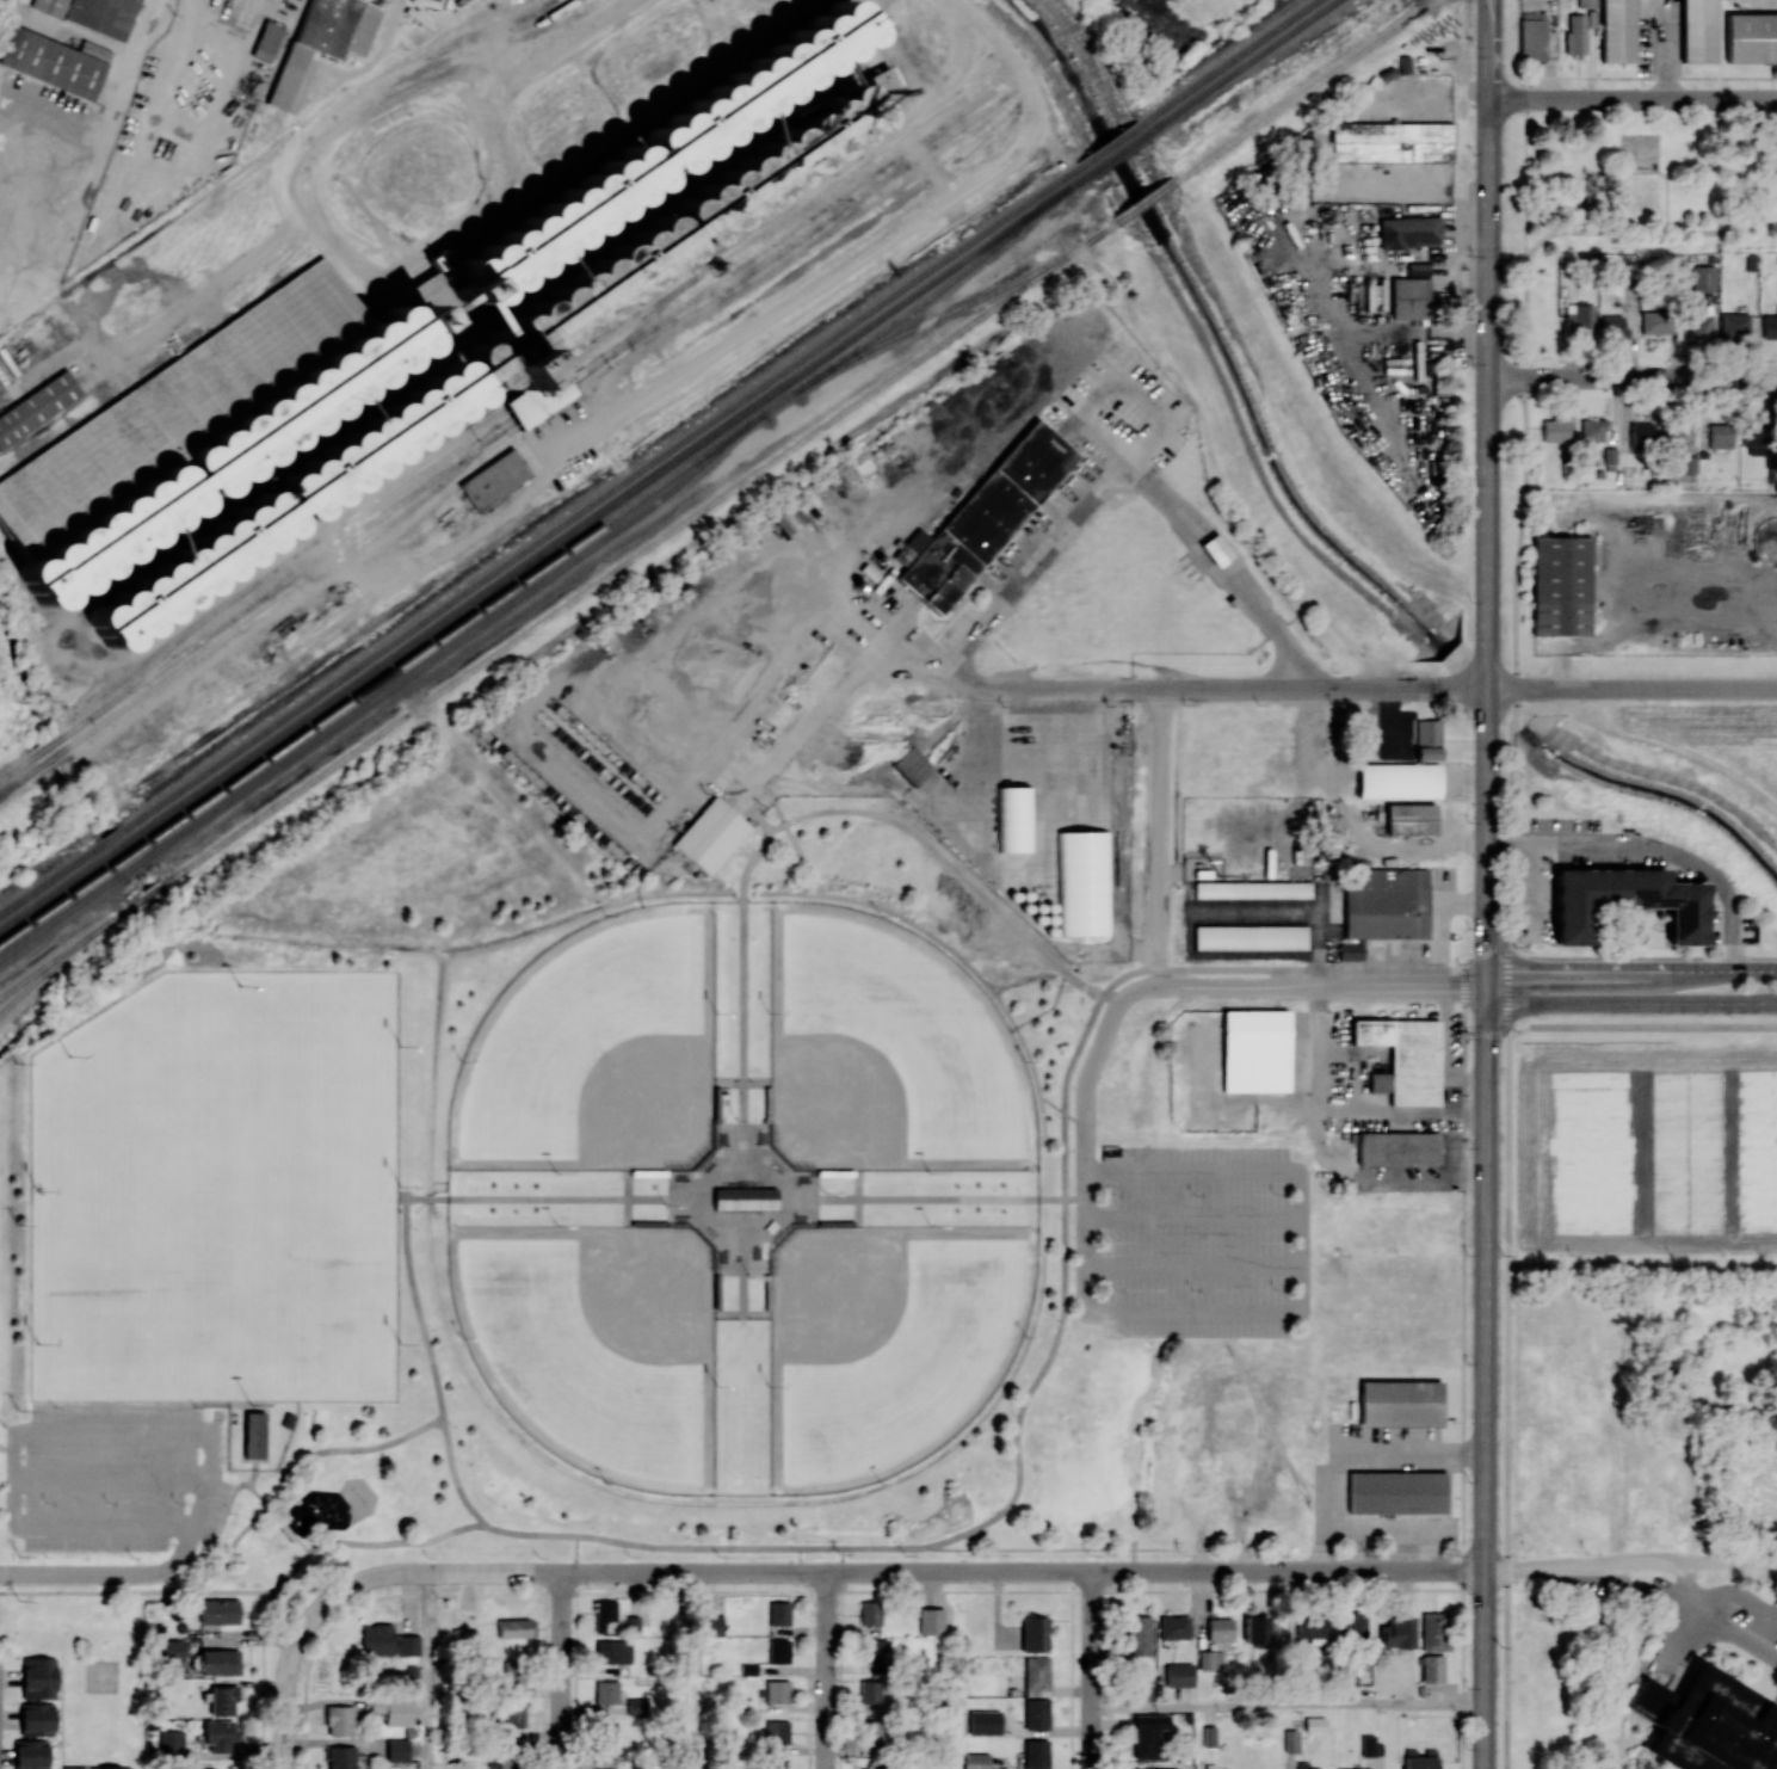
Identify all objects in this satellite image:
building: (1584, 2)
road: (185, 5)
road: (1485, 5)
road: (1488, 5)
building: (92, 13)
building: (1619, 30)
building: (1697, 30)
road: (531, 32)
building: (1575, 33)
building: (1531, 36)
building: (1751, 37)
building: (325, 38)
building: (267, 41)
road: (137, 49)
road: (1661, 51)
building: (55, 61)
railway: (1227, 61)
railway: (1241, 67)
road: (1629, 76)
railway: (1301, 91)
road: (1633, 97)
building: (1390, 141)
railway: (1107, 144)
park: (1639, 149)
building: (658, 153)
railway: (1113, 154)
road: (169, 167)
railway: (1075, 180)
park: (1622, 195)
railway: (1142, 202)
railway: (784, 214)
railway: (822, 220)
building: (1408, 232)
building: (670, 244)
road: (1693, 244)
road: (344, 252)
railway: (928, 267)
building: (1417, 269)
building: (1703, 278)
railway: (927, 283)
building: (1409, 297)
road: (197, 298)
railway: (946, 312)
road: (769, 316)
building: (1579, 319)
building: (1699, 320)
building: (1655, 322)
building: (1733, 325)
building: (1612, 326)
building: (1769, 326)
river: (1218, 337)
road: (1119, 377)
road: (1631, 377)
building: (37, 406)
railway: (535, 406)
building: (195, 427)
building: (1592, 429)
building: (1554, 430)
building: (1640, 434)
building: (1720, 436)
building: (1672, 437)
building: (1758, 438)
building: (1609, 458)
building: (1684, 464)
road: (1129, 469)
road: (1525, 473)
building: (493, 479)
railway: (390, 486)
road: (1487, 499)
building: (278, 506)
building: (789, 517)
building: (982, 518)
building: (1216, 549)
railway: (537, 568)
building: (1560, 585)
railway: (288, 592)
railway: (554, 611)
road: (831, 617)
road: (853, 634)
railway: (390, 642)
railway: (394, 653)
road: (899, 654)
road: (1322, 688)
river: (1486, 688)
railway: (385, 689)
road: (1631, 689)
road: (1069, 719)
building: (1427, 739)
railway: (48, 745)
railway: (55, 753)
road: (549, 760)
building: (908, 765)
railway: (16, 766)
road: (1102, 776)
railway: (20, 778)
building: (1397, 779)
river: (1655, 789)
building: (1013, 818)
building: (1409, 819)
building: (1070, 825)
building: (711, 833)
road: (1159, 836)
road: (1652, 845)
road: (949, 862)
road: (993, 867)
building: (1252, 889)
building: (1625, 901)
building: (1382, 906)
building: (1760, 933)
building: (1250, 937)
road: (486, 941)
road: (742, 950)
road: (954, 950)
road: (1641, 960)
railway: (53, 963)
road: (1628, 969)
road: (1324, 986)
traffic signals: (1487, 987)
road: (1506, 988)
road: (1629, 1001)
road: (1640, 1025)
park: (597, 1050)
park: (887, 1050)
building: (1255, 1050)
building: (1403, 1058)
road: (433, 1067)
road: (1060, 1109)
building: (1397, 1147)
crop: (1646, 1148)
park: (218, 1191)
road: (869, 1196)
road: (547, 1197)
building: (746, 1198)
road: (1193, 1216)
road: (741, 1218)
park: (131, 1225)
road: (677, 1226)
park: (673, 1228)
parking lot: (1191, 1240)
park: (307, 1244)
road: (1193, 1264)
road: (1189, 1312)
road: (1061, 1318)
park: (887, 1342)
park: (597, 1343)
road: (433, 1366)
road: (1485, 1377)
building: (1399, 1403)
building: (288, 1420)
building: (257, 1435)
road: (1359, 1455)
crop: (1764, 1457)
road: (11, 1467)
road: (285, 1473)
road: (111, 1475)
parking lot: (109, 1477)
road: (206, 1486)
building: (1395, 1492)
road: (712, 1502)
road: (1388, 1535)
road: (1321, 1551)
road: (1358, 1552)
road: (1426, 1554)
road: (1630, 1564)
road: (893, 1571)
road: (100, 1574)
road: (254, 1590)
road: (1734, 1595)
building: (218, 1610)
building: (604, 1613)
building: (778, 1613)
building: (870, 1613)
building: (930, 1620)
building: (712, 1625)
building: (516, 1627)
building: (1173, 1627)
building: (1355, 1627)
building: (1255, 1628)
building: (1312, 1628)
building: (1220, 1629)
road: (1709, 1629)
building: (1433, 1631)
building: (1396, 1632)
building: (1034, 1634)
building: (1139, 1635)
building: (387, 1641)
building: (167, 1648)
building: (612, 1651)
building: (778, 1651)
building: (872, 1651)
building: (1209, 1659)
building: (218, 1662)
building: (747, 1669)
building: (1432, 1669)
road: (690, 1670)
road: (825, 1670)
road: (1098, 1670)
road: (561, 1671)
building: (513, 1672)
building: (1036, 1675)
building: (1179, 1675)
building: (1351, 1676)
building: (38, 1677)
road: (284, 1687)
building: (606, 1691)
building: (776, 1691)
building: (870, 1691)
building: (222, 1699)
road: (1290, 1705)
building: (393, 1709)
building: (1036, 1713)
building: (513, 1715)
building: (37, 1718)
building: (339, 1720)
building: (1707, 1722)
building: (1315, 1724)
road: (426, 1726)
building: (777, 1731)
building: (870, 1731)
building: (218, 1734)
building: (609, 1734)
building: (1147, 1734)
building: (1209, 1736)
building: (1290, 1740)
building: (171, 1743)
building: (1366, 1745)
building: (396, 1750)
building: (30, 1753)
building: (1036, 1753)
building: (505, 1756)
building: (341, 1757)
building: (1419, 1758)
building: (975, 1759)
building: (778, 1764)
building: (1301, 1764)
building: (73, 1767)
building: (1766, 1767)
building: (109, 1768)
building: (611, 1768)
building: (870, 1768)
building: (1136, 1768)
building: (1224, 1768)
building: (1366, 1768)

